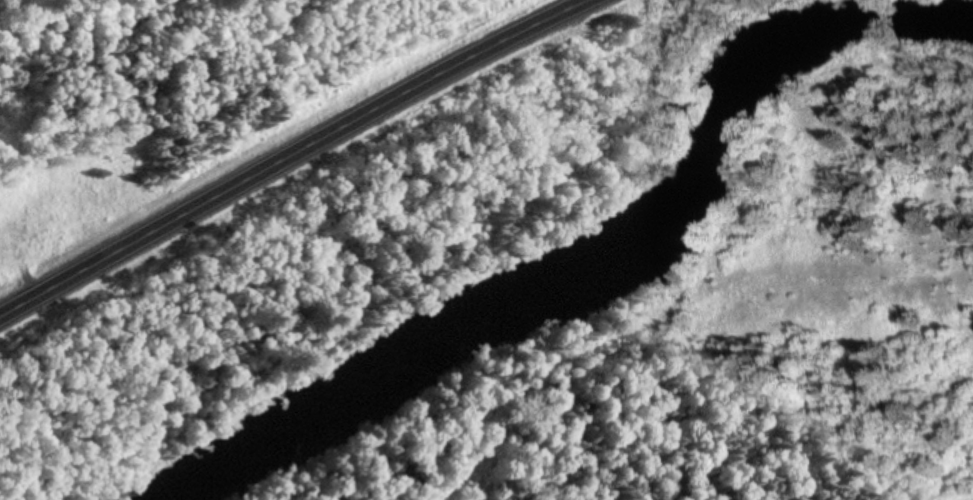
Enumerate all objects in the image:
road: (289, 155)
river: (599, 270)

